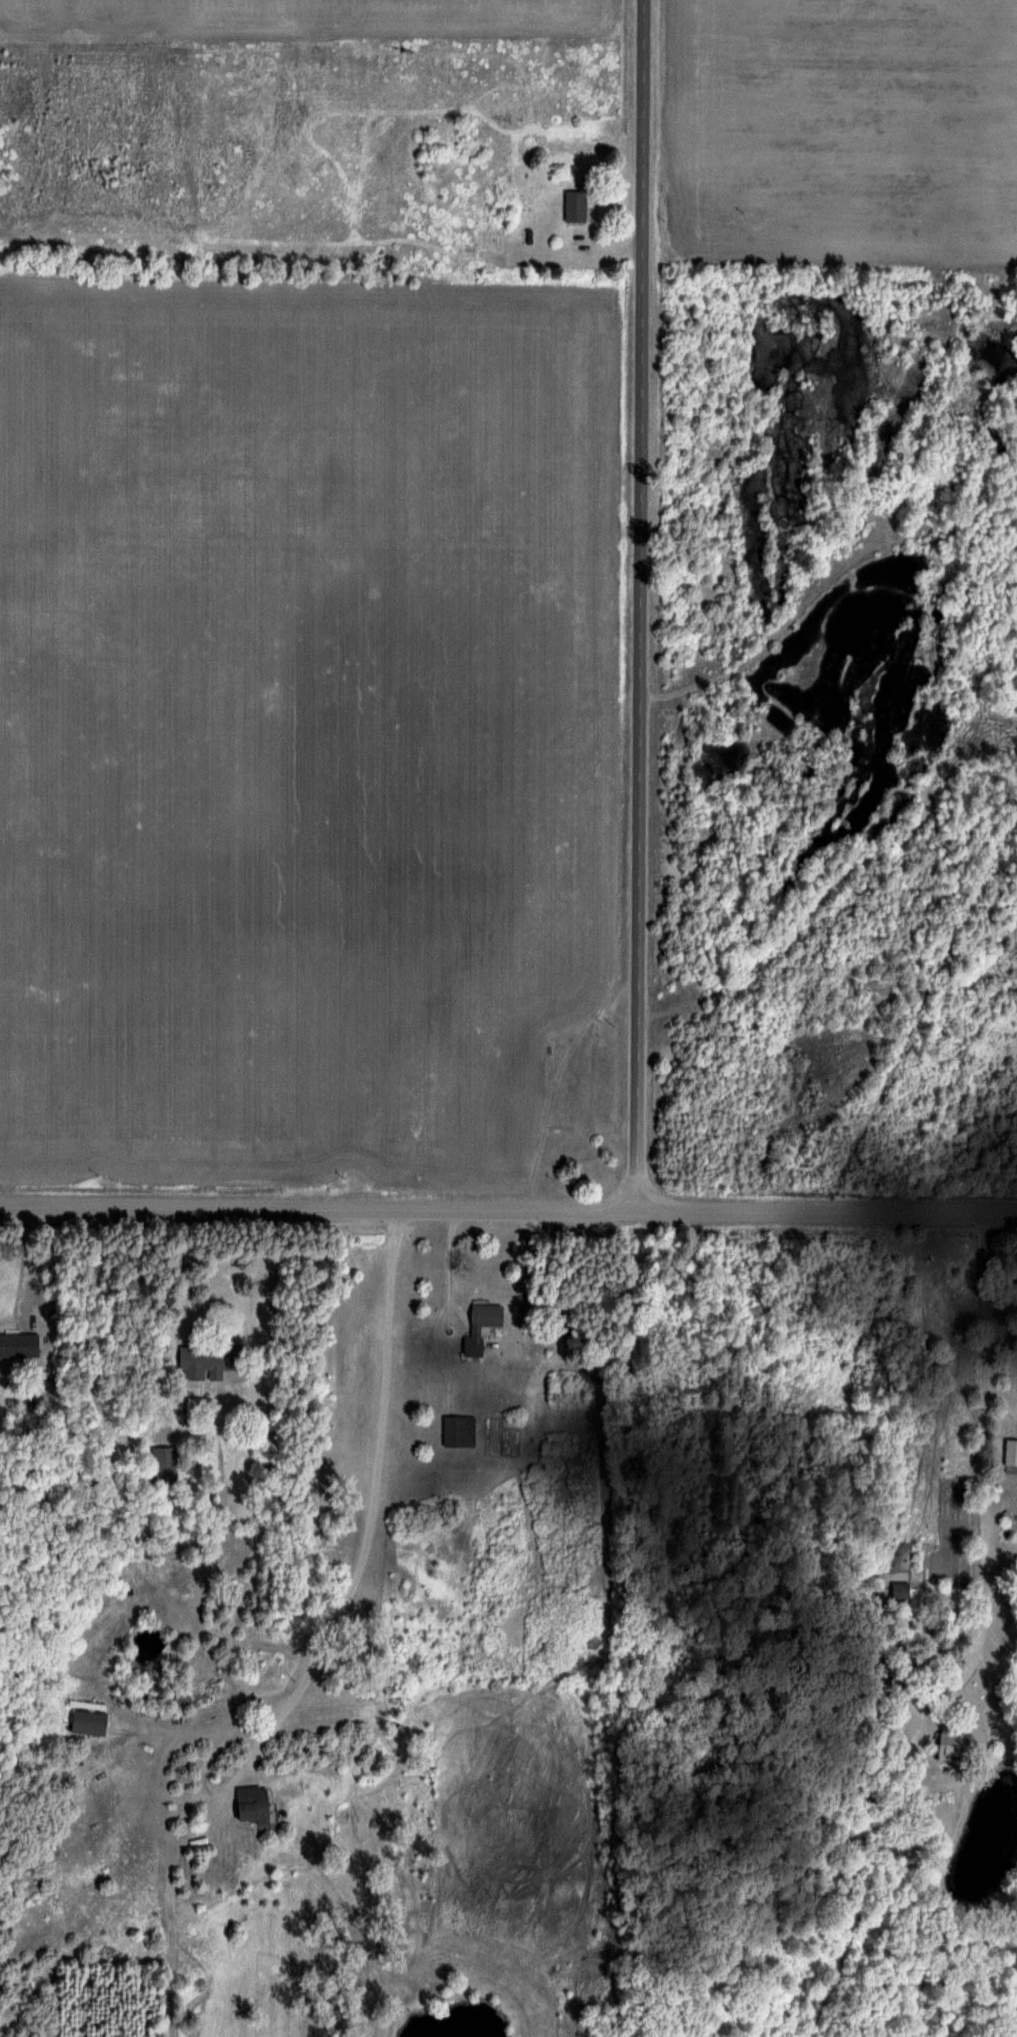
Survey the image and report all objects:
building: (575, 205)
building: (491, 238)
road: (646, 606)
building: (571, 1126)
road: (508, 1211)
road: (515, 1276)
building: (480, 1326)
building: (19, 1345)
building: (209, 1361)
building: (193, 1410)
building: (458, 1430)
building: (1010, 1456)
building: (164, 1464)
road: (354, 1571)
building: (900, 1591)
road: (957, 1635)
building: (87, 1722)
building: (949, 1742)
building: (251, 1803)

